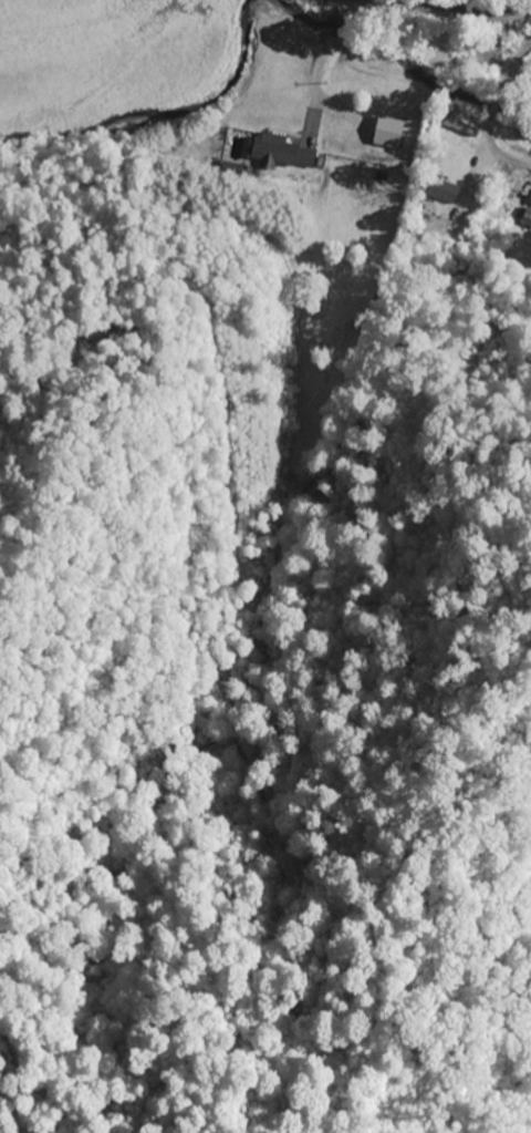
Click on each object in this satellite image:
road: (454, 10)
road: (450, 148)
building: (281, 153)
building: (530, 203)
building: (527, 216)

